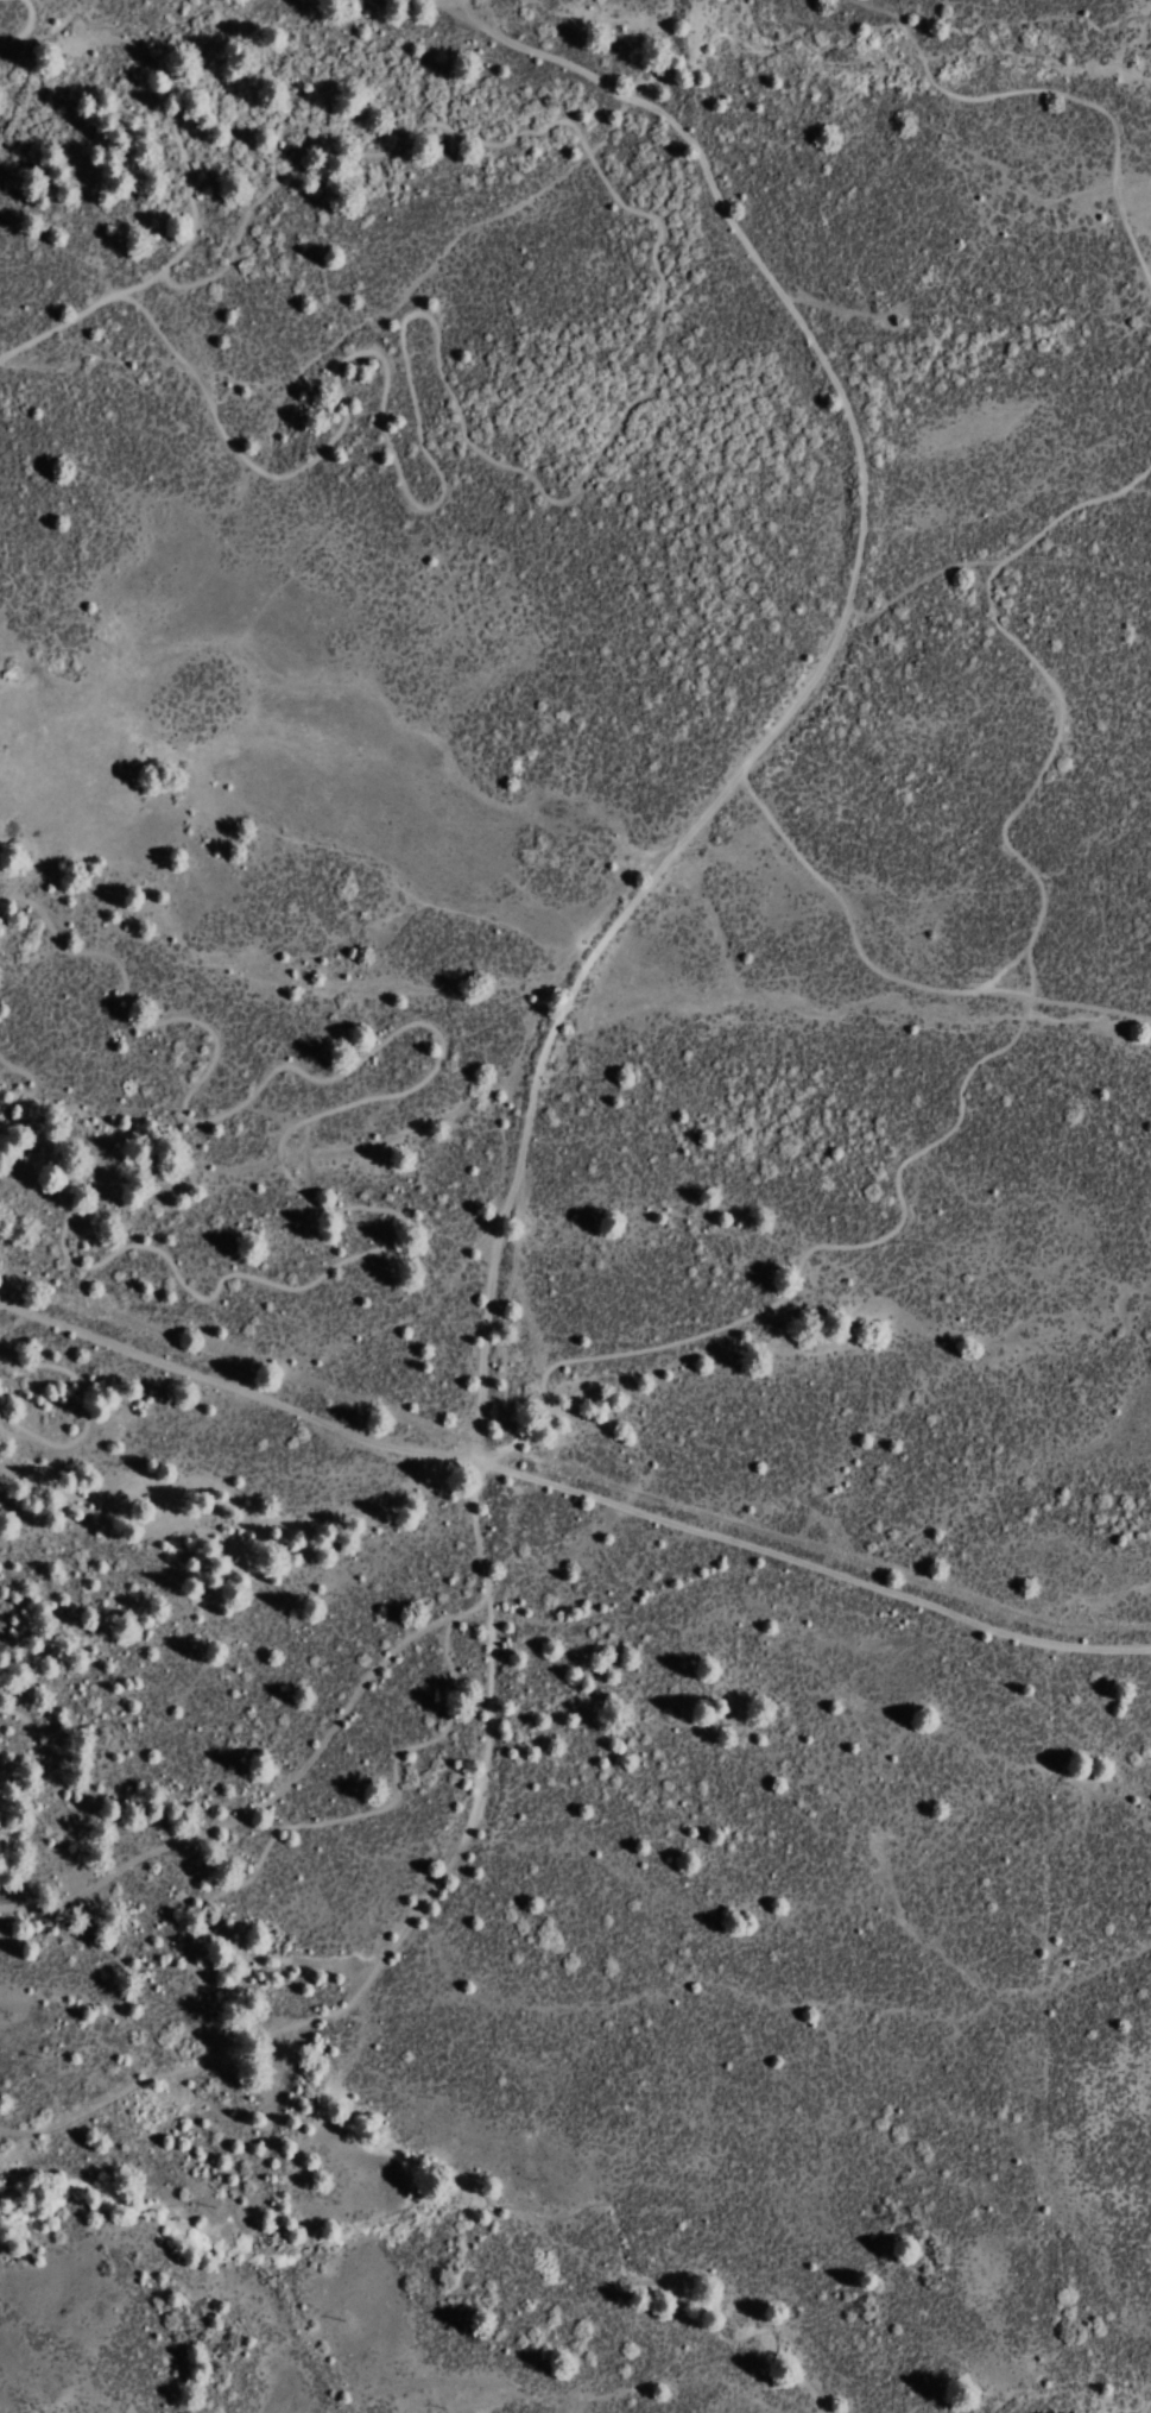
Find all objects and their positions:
road: (1049, 89)
road: (918, 580)
road: (888, 976)
road: (991, 1051)
road: (533, 1072)
road: (234, 1387)
road: (809, 1564)
crop: (1082, 1724)
road: (271, 1794)

